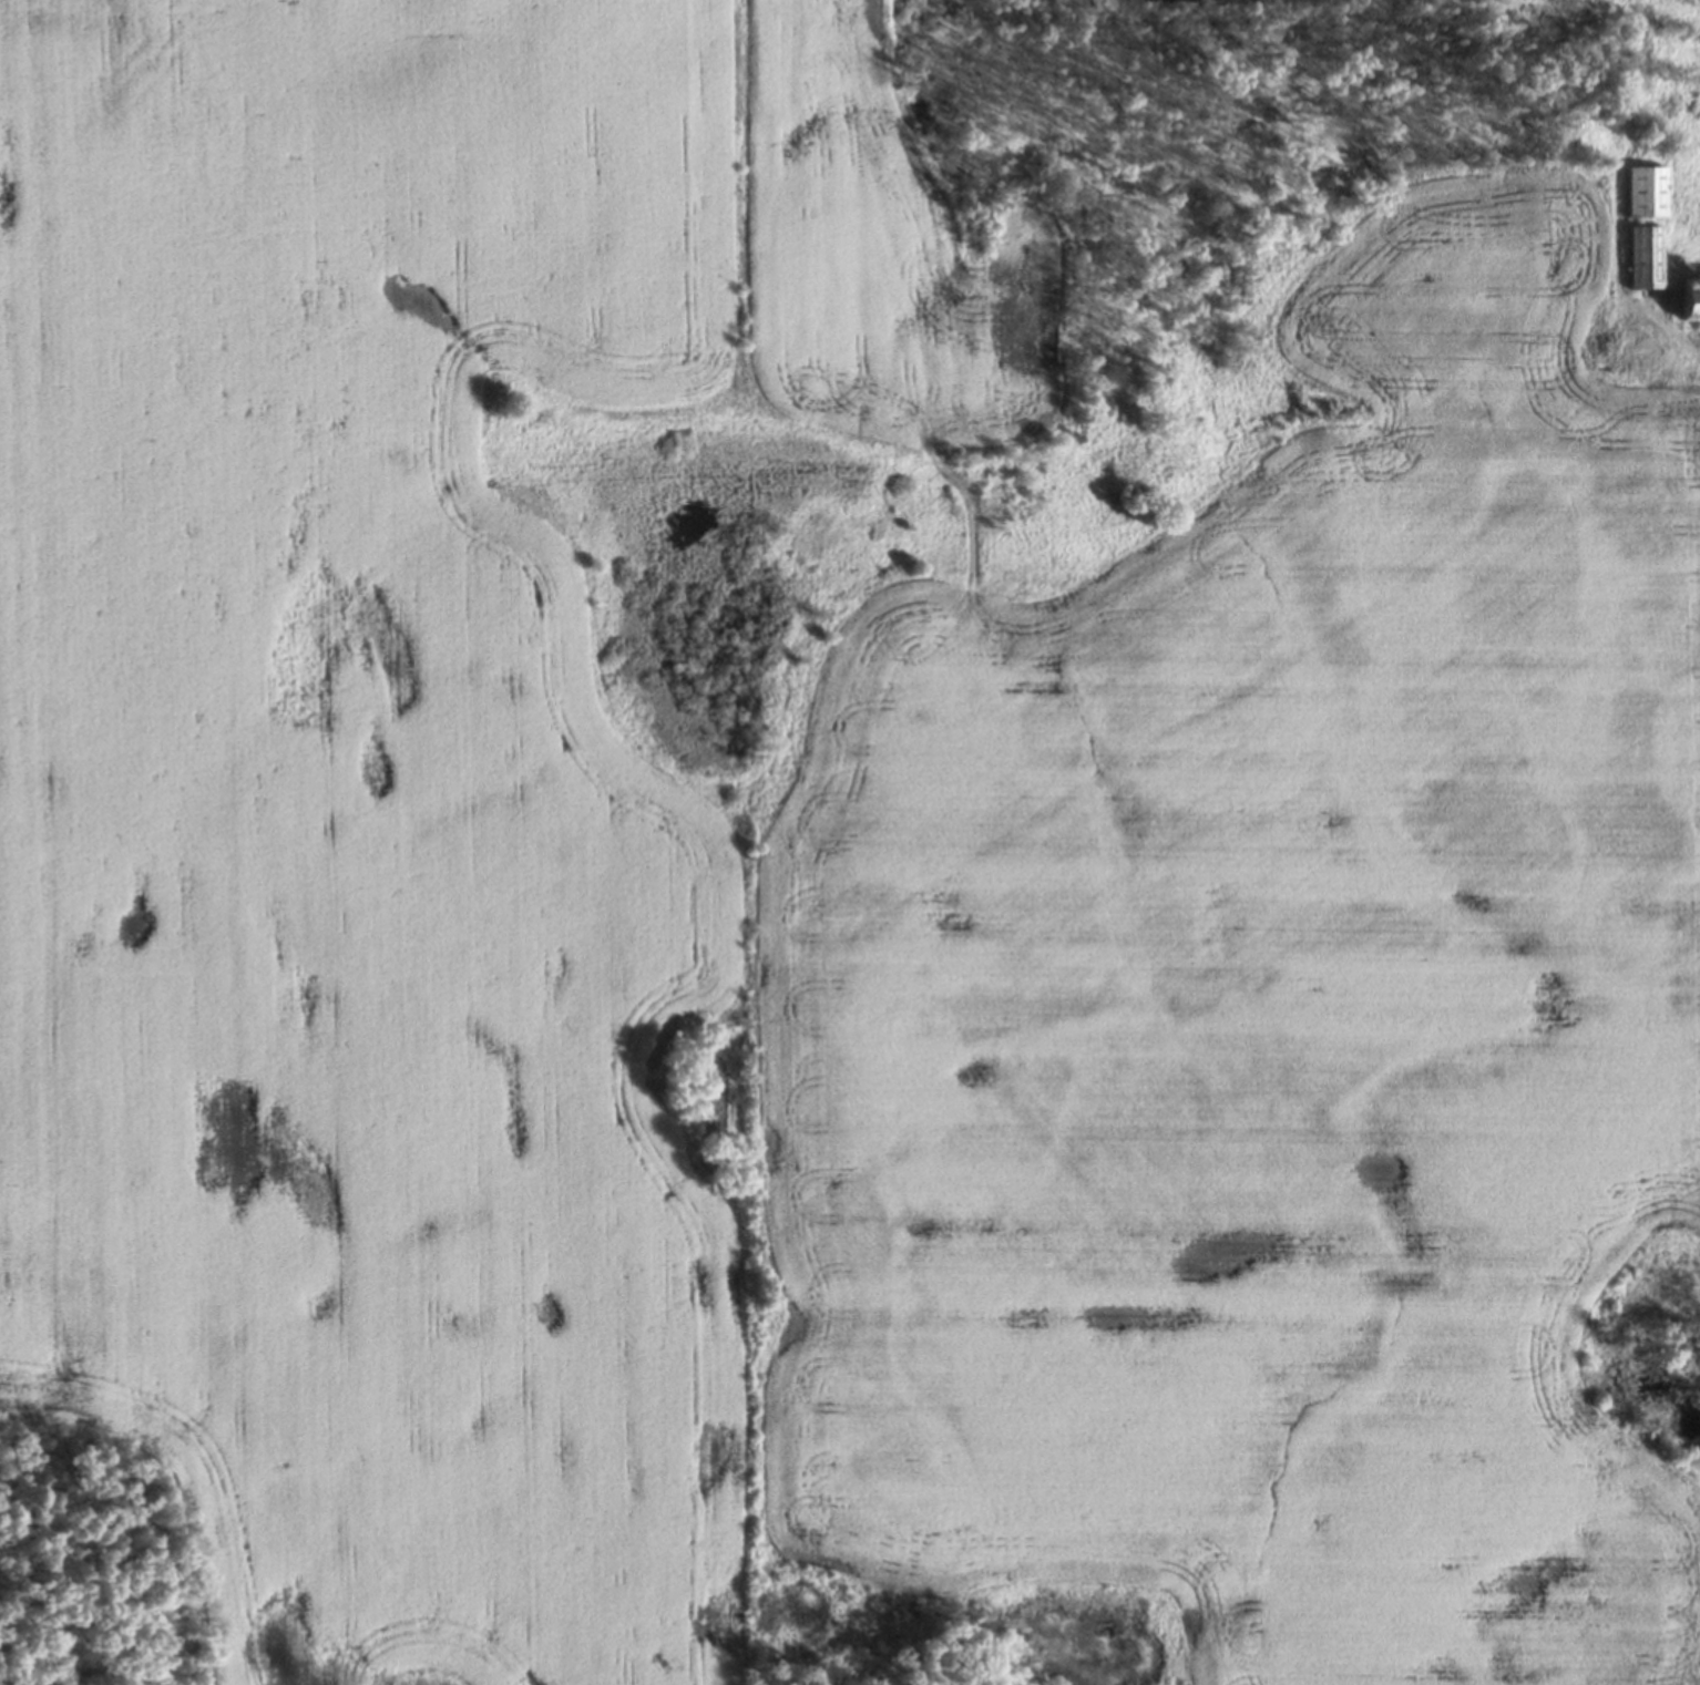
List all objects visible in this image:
building: (1648, 191)
building: (1647, 257)
building: (1691, 301)
building: (1655, 370)
building: (1683, 408)

